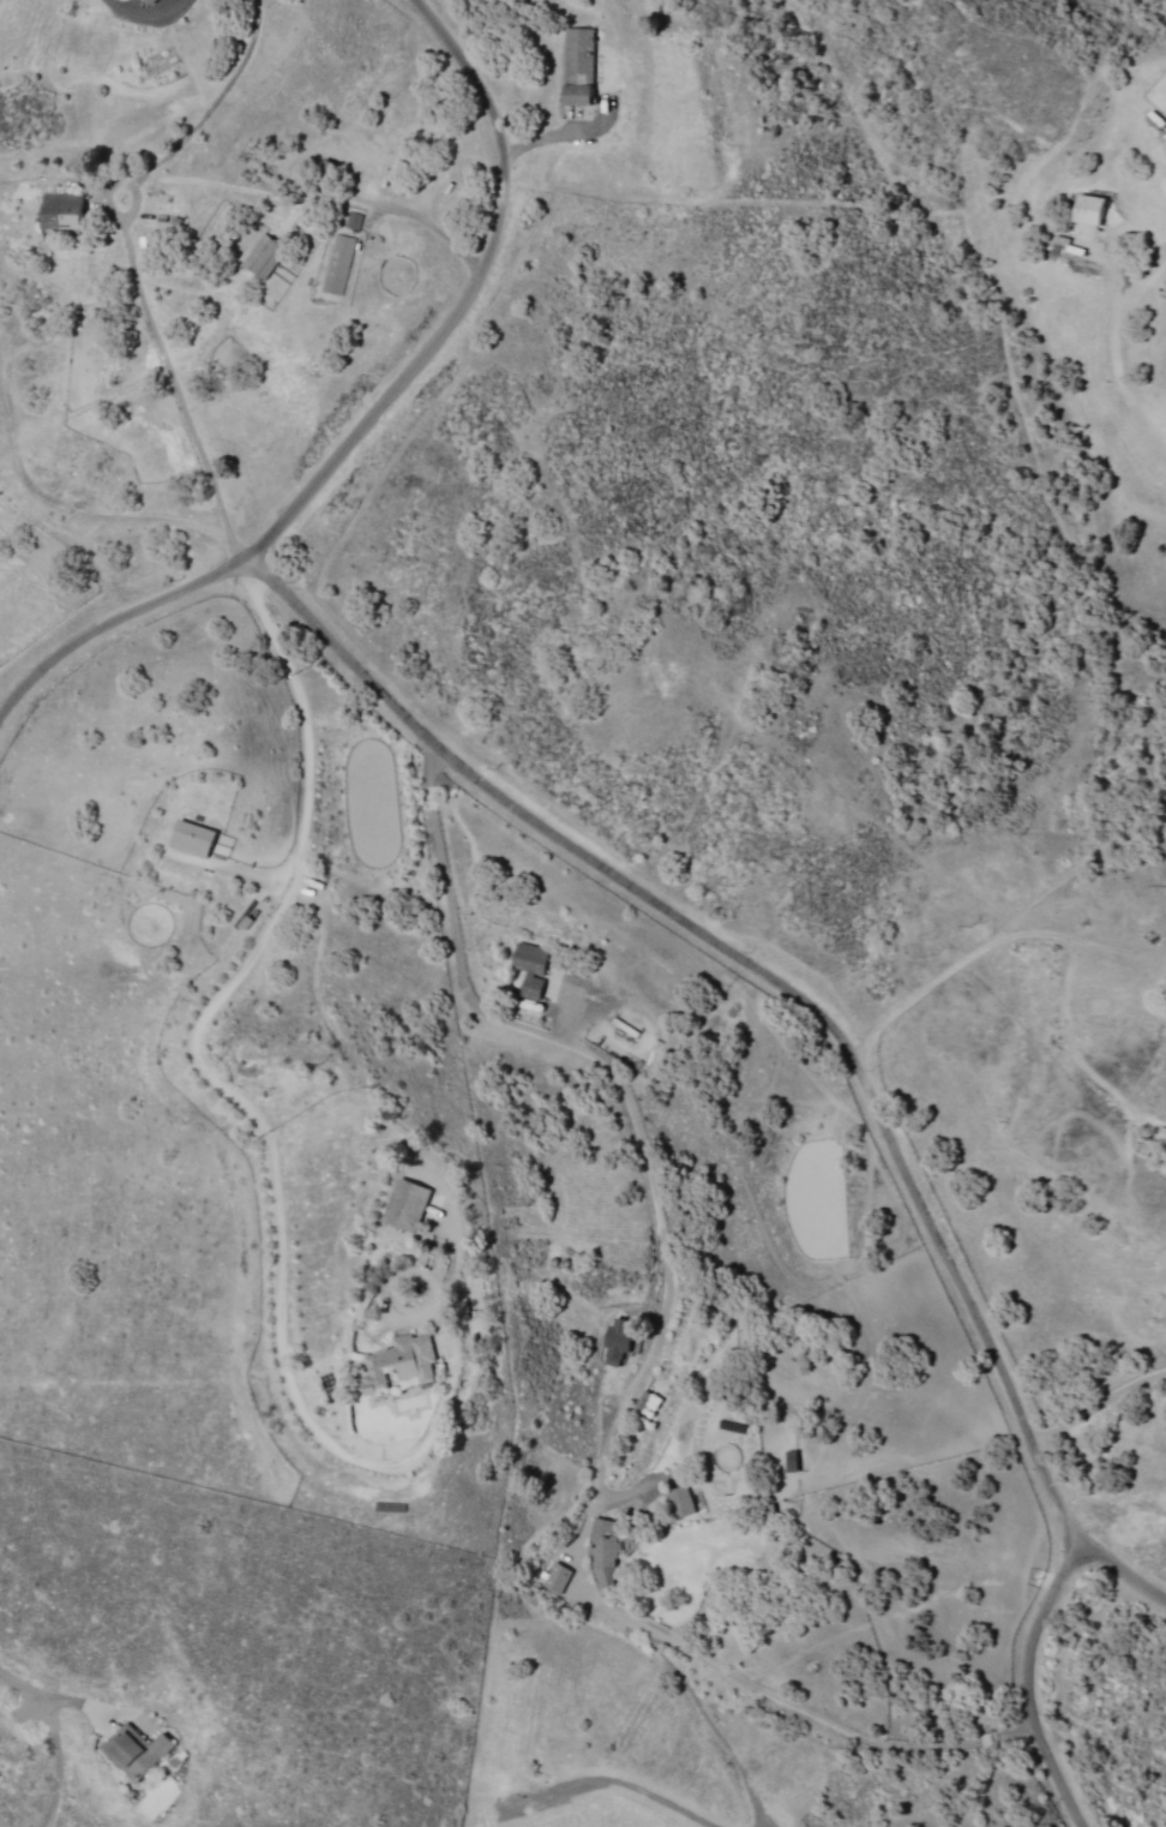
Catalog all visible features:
building: (149, 1)
building: (579, 66)
building: (1089, 209)
building: (64, 210)
building: (351, 220)
building: (263, 254)
building: (337, 264)
road: (356, 408)
road: (82, 509)
building: (192, 839)
building: (531, 969)
road: (801, 995)
building: (413, 1205)
building: (618, 1343)
building: (404, 1364)
building: (681, 1502)
building: (605, 1553)
building: (555, 1579)
road: (1032, 1619)
building: (137, 1751)
road: (1056, 1773)

